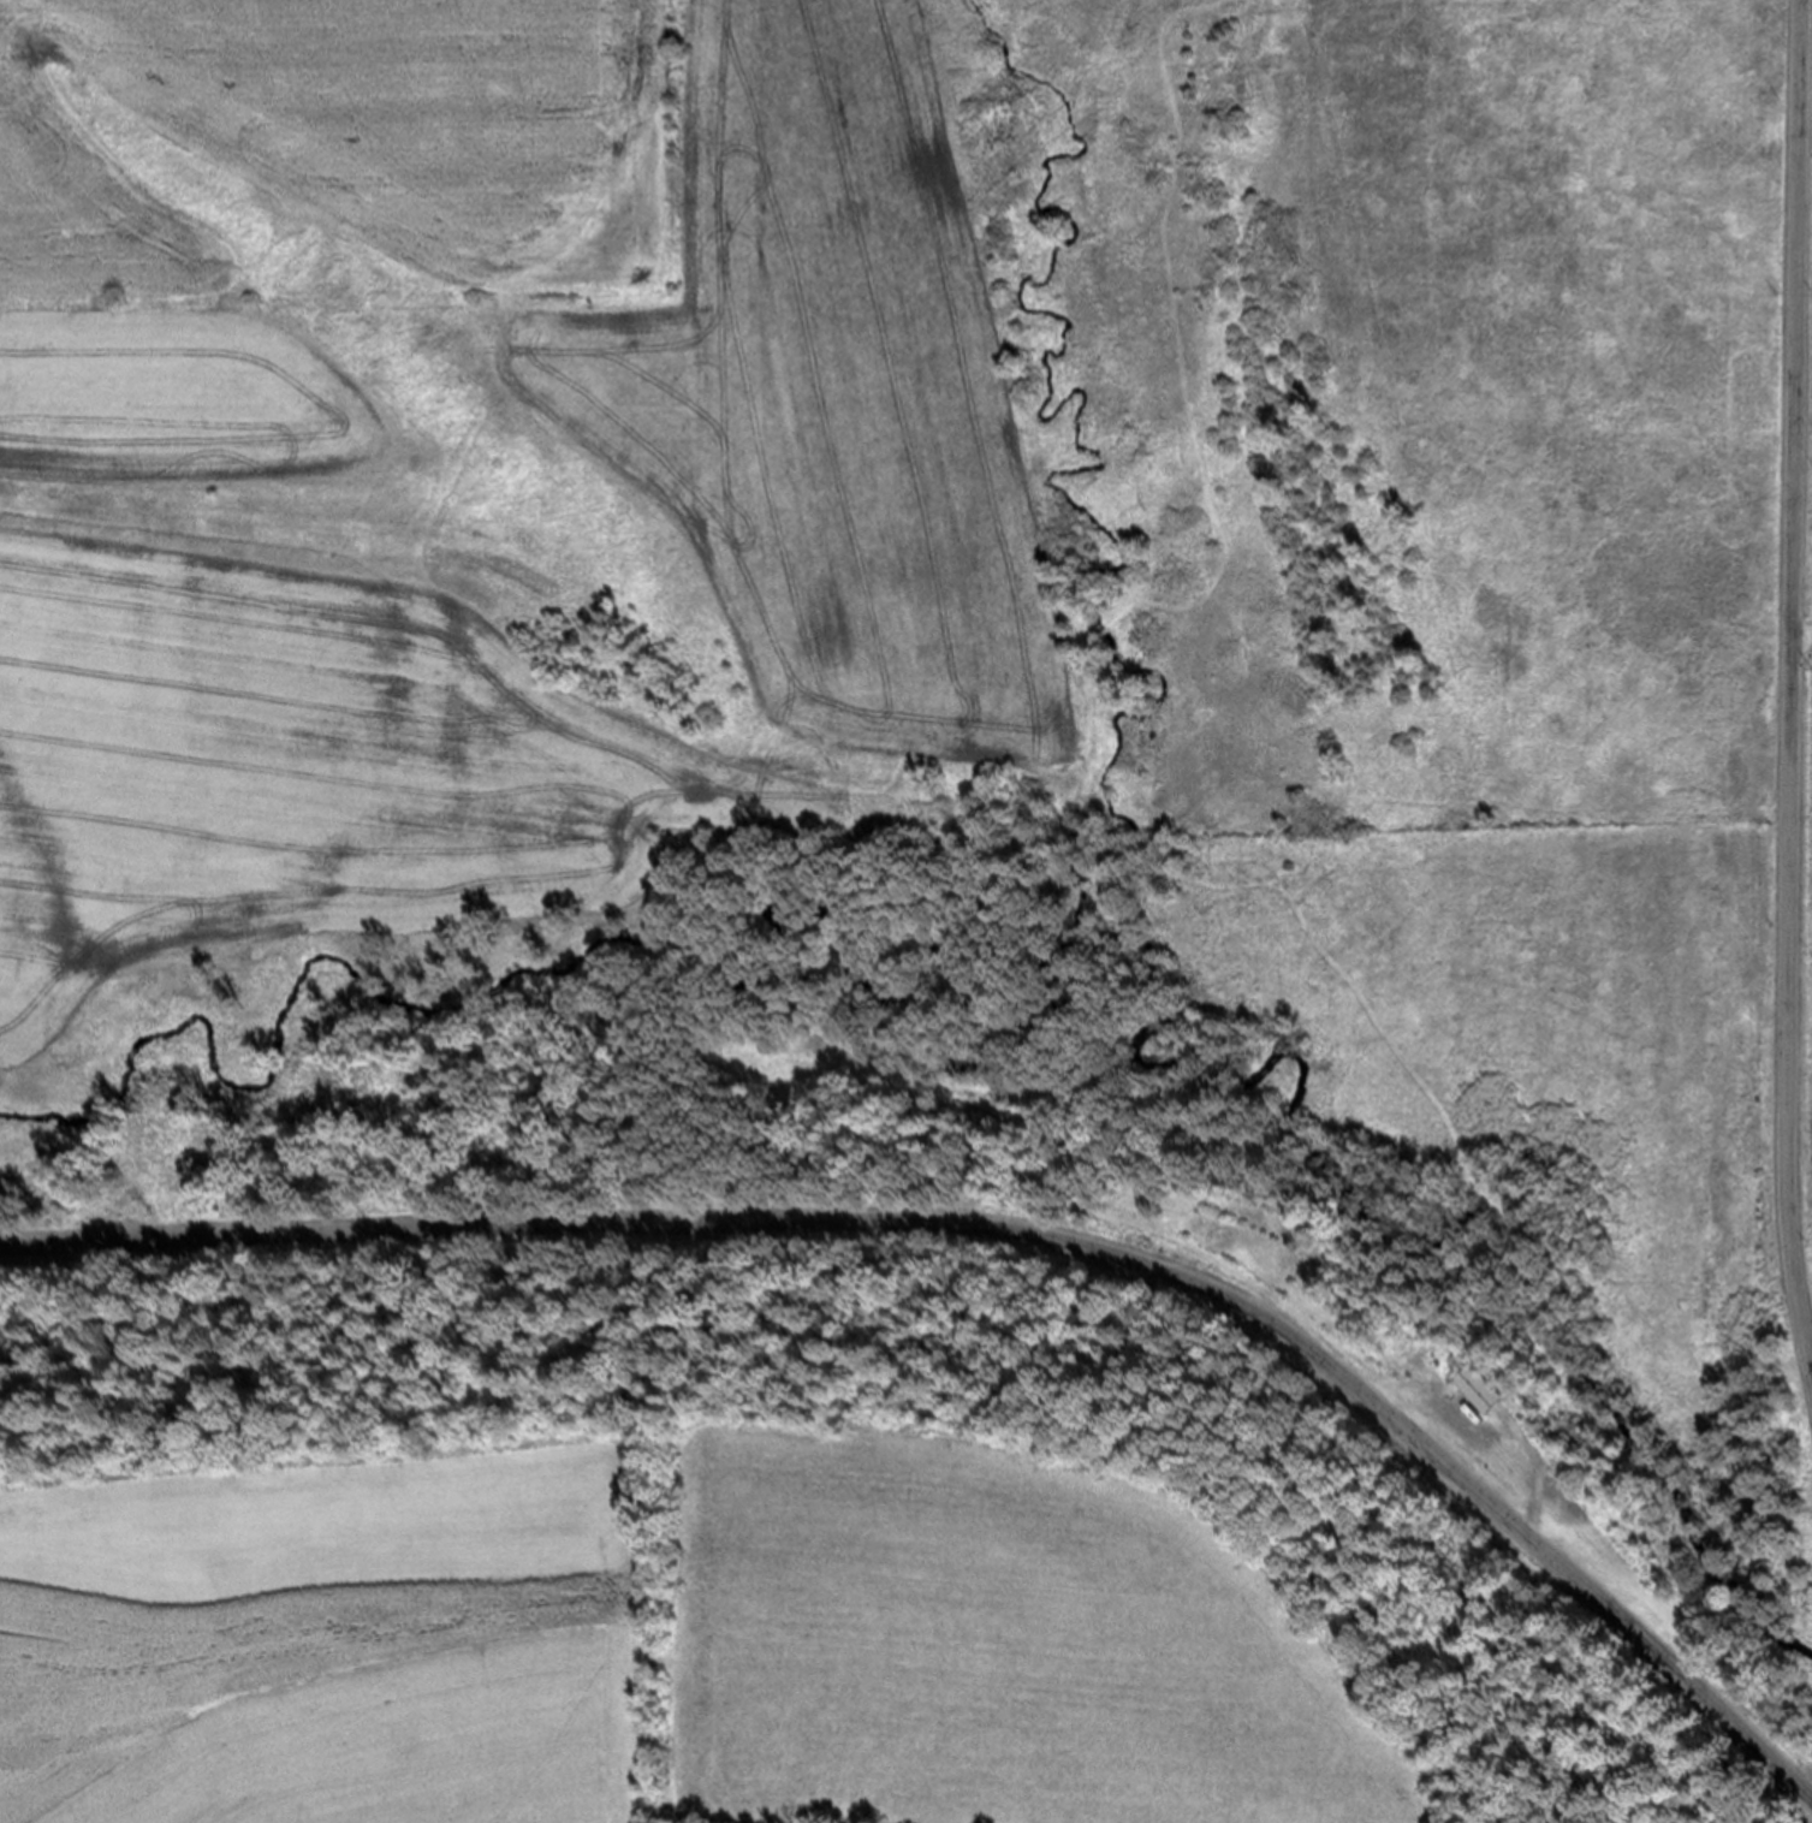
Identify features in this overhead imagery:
road: (1800, 636)
road: (1789, 689)
road: (826, 913)
river: (1116, 933)
river: (230, 1027)
building: (1036, 1067)
road: (1004, 1230)
building: (1321, 1253)
building: (1477, 1390)
road: (1534, 1471)

